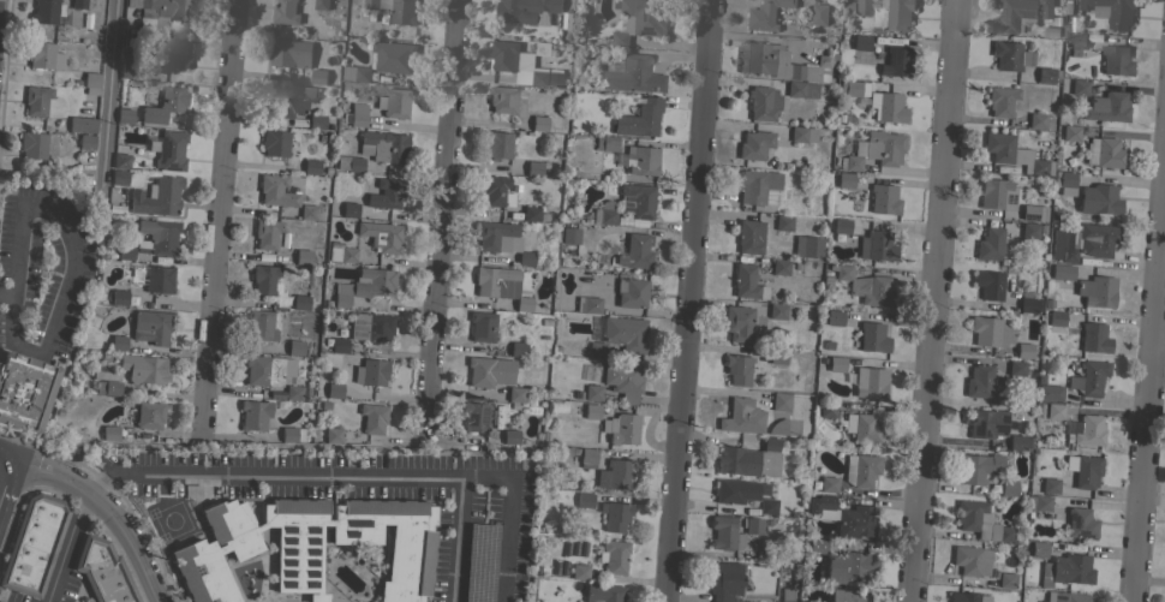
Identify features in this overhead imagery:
building: (78, 4)
building: (321, 4)
building: (371, 4)
building: (163, 8)
building: (527, 10)
building: (46, 11)
rooftop solar panel: (1002, 11)
building: (1111, 11)
building: (286, 12)
building: (402, 12)
building: (819, 13)
building: (885, 13)
building: (1018, 13)
rooftop solar panel: (1028, 13)
building: (766, 14)
building: (639, 19)
rooftop solar panel: (1015, 20)
rooftop solar panel: (1008, 30)
building: (1051, 32)
building: (1077, 41)
building: (860, 42)
building: (289, 53)
building: (178, 54)
building: (502, 54)
building: (44, 55)
building: (1009, 55)
building: (383, 60)
building: (1115, 60)
building: (896, 61)
building: (785, 64)
building: (127, 70)
building: (632, 74)
building: (1046, 74)
building: (318, 76)
building: (539, 77)
building: (555, 77)
building: (91, 79)
building: (1079, 88)
building: (795, 89)
road: (110, 93)
building: (502, 99)
building: (287, 100)
building: (877, 100)
building: (1000, 101)
building: (42, 102)
building: (394, 102)
building: (763, 102)
building: (165, 105)
building: (1106, 107)
building: (357, 114)
building: (124, 115)
building: (639, 119)
building: (822, 119)
building: (1036, 120)
building: (315, 121)
building: (539, 123)
building: (82, 124)
building: (1070, 132)
building: (802, 133)
building: (85, 141)
building: (274, 142)
building: (605, 143)
building: (32, 144)
building: (496, 144)
building: (754, 144)
building: (383, 147)
building: (998, 147)
building: (876, 149)
building: (167, 150)
building: (1104, 153)
building: (640, 160)
building: (120, 161)
building: (348, 163)
building: (311, 166)
building: (1038, 167)
building: (533, 168)
building: (119, 177)
building: (844, 179)
building: (1064, 183)
building: (759, 187)
building: (494, 190)
building: (275, 191)
building: (384, 193)
building: (999, 193)
building: (157, 197)
rooftop solar panel: (626, 199)
building: (637, 199)
building: (883, 199)
building: (1098, 199)
rooftop solar panel: (626, 204)
building: (349, 209)
building: (307, 211)
building: (1033, 211)
building: (530, 213)
building: (604, 213)
road: (220, 219)
road: (441, 222)
building: (783, 222)
building: (840, 228)
building: (1029, 230)
building: (265, 233)
building: (157, 236)
building: (381, 236)
building: (569, 236)
building: (749, 237)
building: (501, 239)
building: (1097, 239)
building: (990, 244)
building: (1062, 245)
building: (807, 246)
building: (876, 246)
building: (635, 251)
building: (125, 252)
building: (342, 254)
building: (303, 256)
road: (73, 261)
building: (779, 267)
building: (1061, 272)
building: (157, 279)
building: (263, 279)
building: (374, 282)
building: (747, 282)
building: (988, 284)
building: (501, 285)
building: (865, 286)
building: (1097, 291)
road: (4, 292)
building: (632, 293)
building: (341, 294)
building: (119, 297)
road: (689, 300)
road: (932, 300)
building: (300, 302)
building: (1029, 302)
building: (587, 304)
building: (776, 311)
building: (834, 317)
building: (1056, 317)
rooftop solar panel: (356, 321)
building: (737, 322)
building: (261, 324)
building: (370, 326)
building: (482, 326)
building: (150, 327)
rooftop solar panel: (358, 328)
rooftop solar panel: (371, 328)
building: (992, 332)
rooftop solar panel: (357, 334)
building: (619, 335)
rooftop solar panel: (376, 336)
building: (872, 338)
building: (1093, 338)
building: (118, 342)
building: (339, 344)
building: (294, 347)
building: (518, 348)
building: (1023, 351)
building: (777, 356)
building: (836, 364)
building: (142, 368)
building: (1015, 368)
building: (737, 369)
road: (1149, 369)
building: (268, 370)
building: (489, 371)
building: (371, 372)
building: (1088, 377)
building: (106, 380)
building: (622, 380)
building: (979, 381)
building: (870, 382)
building: (24, 389)
building: (334, 389)
building: (293, 392)
building: (592, 392)
building: (1048, 393)
building: (515, 394)
building: (781, 400)
building: (828, 410)
building: (591, 411)
building: (1053, 411)
building: (144, 413)
building: (253, 415)
rooftop solar panel: (480, 415)
building: (372, 417)
rooftop solar panel: (468, 417)
building: (474, 417)
building: (741, 417)
building: (985, 422)
building: (608, 424)
building: (777, 427)
building: (861, 427)
building: (625, 429)
building: (1085, 430)
building: (109, 433)
building: (291, 434)
building: (333, 435)
building: (509, 436)
building: (1017, 442)
road: (10, 455)
building: (587, 458)
building: (749, 459)
building: (978, 467)
building: (860, 469)
building: (1083, 470)
building: (619, 472)
road: (370, 476)
road: (100, 481)
building: (828, 484)
building: (1048, 485)
road: (10, 488)
building: (1008, 488)
building: (739, 490)
building: (584, 500)
building: (819, 502)
building: (1039, 502)
building: (767, 506)
road: (112, 507)
building: (615, 515)
building: (855, 521)
building: (980, 521)
building: (1080, 523)
building: (753, 525)
building: (724, 534)
road: (460, 540)
building: (32, 544)
road: (70, 546)
building: (309, 546)
building: (817, 548)
building: (1038, 549)
building: (613, 556)
building: (970, 560)
building: (849, 566)
building: (1068, 568)
building: (102, 571)
building: (579, 572)
building: (724, 579)
building: (1005, 579)
building: (474, 592)
building: (603, 592)
building: (847, 596)
building: (967, 597)
building: (1070, 597)

